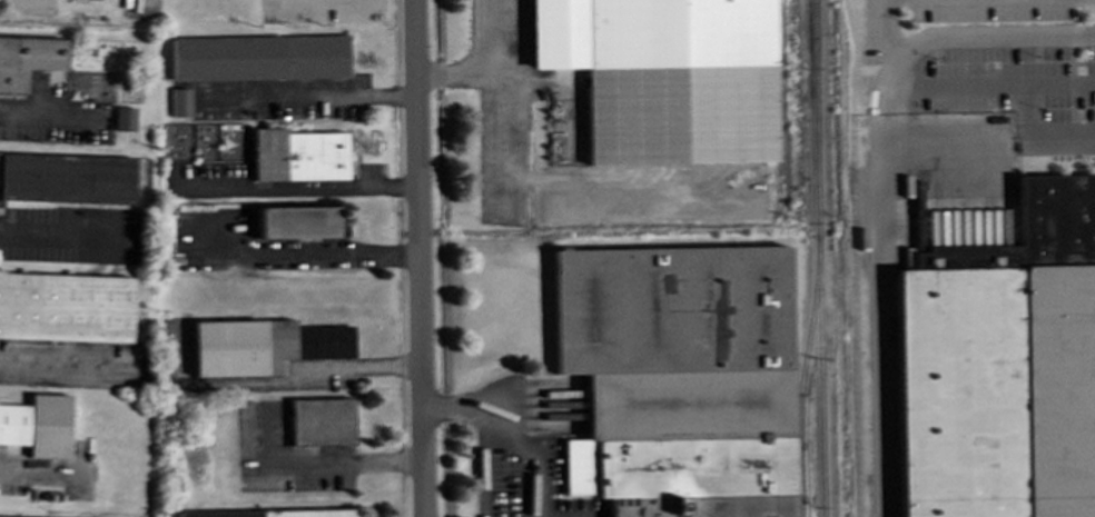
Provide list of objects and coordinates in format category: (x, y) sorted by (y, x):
road: (323, 2)
road: (881, 31)
building: (258, 58)
building: (27, 59)
road: (458, 73)
building: (665, 76)
road: (500, 91)
road: (307, 98)
building: (180, 101)
railway: (783, 111)
road: (47, 118)
building: (124, 118)
railway: (816, 119)
road: (989, 133)
building: (298, 155)
building: (66, 178)
road: (882, 187)
road: (297, 189)
building: (298, 222)
road: (69, 235)
road: (310, 253)
road: (421, 258)
building: (65, 307)
building: (264, 346)
building: (310, 365)
road: (63, 366)
railway: (802, 377)
railway: (820, 377)
building: (678, 378)
road: (274, 382)
building: (320, 421)
road: (514, 422)
building: (37, 425)
road: (482, 460)
road: (343, 461)
road: (38, 471)
building: (273, 513)
building: (0, 516)

